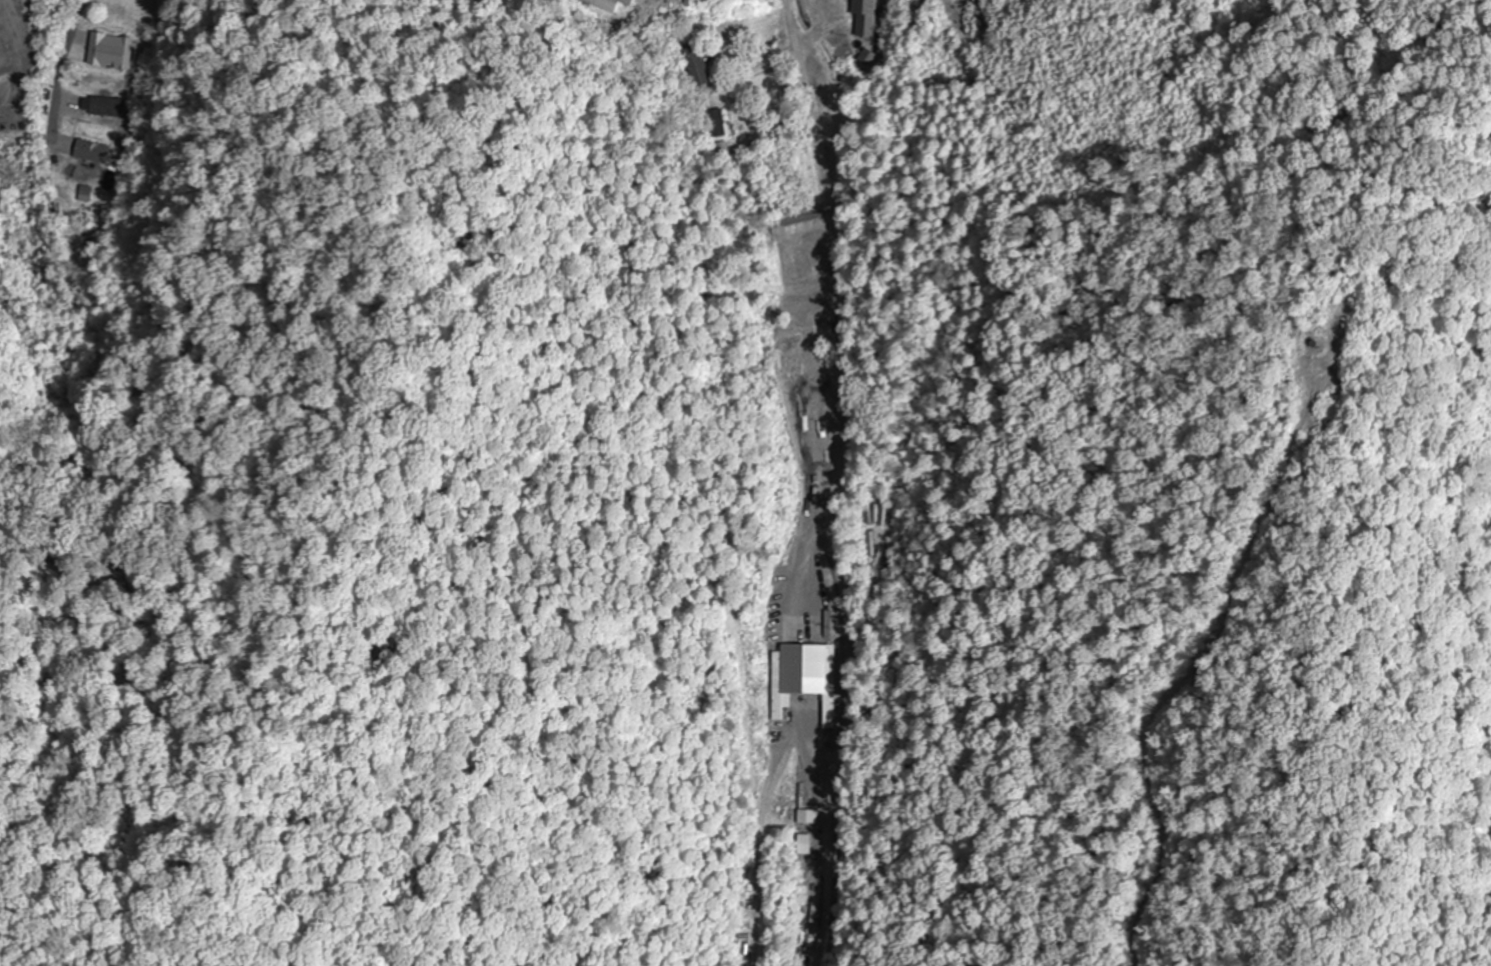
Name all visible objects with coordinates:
building: (604, 4)
building: (867, 17)
building: (109, 52)
building: (694, 65)
road: (61, 68)
building: (107, 107)
road: (810, 107)
building: (715, 125)
building: (89, 152)
building: (782, 235)
building: (796, 264)
building: (803, 677)

